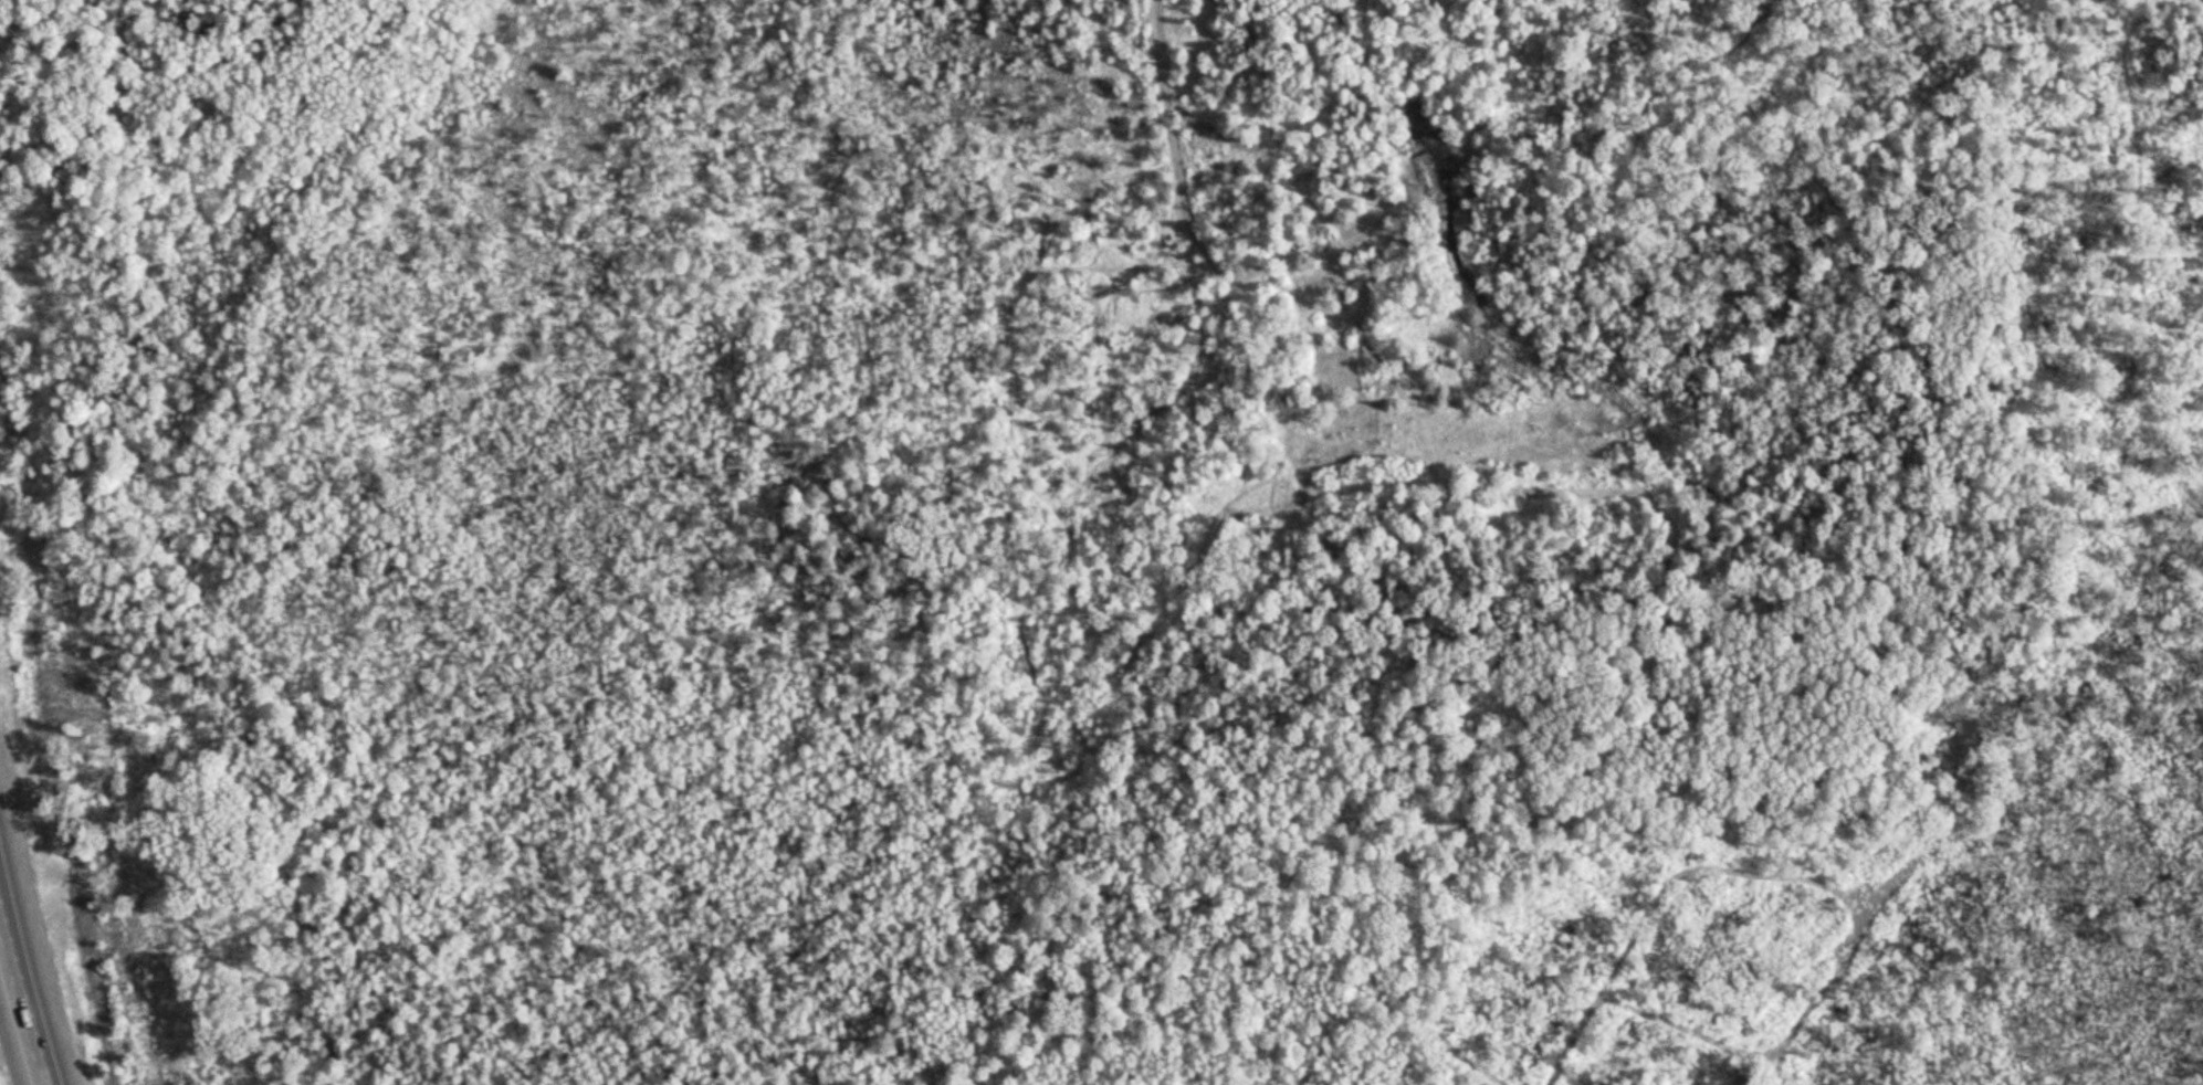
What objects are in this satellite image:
building: (1363, 191)
road: (27, 992)

